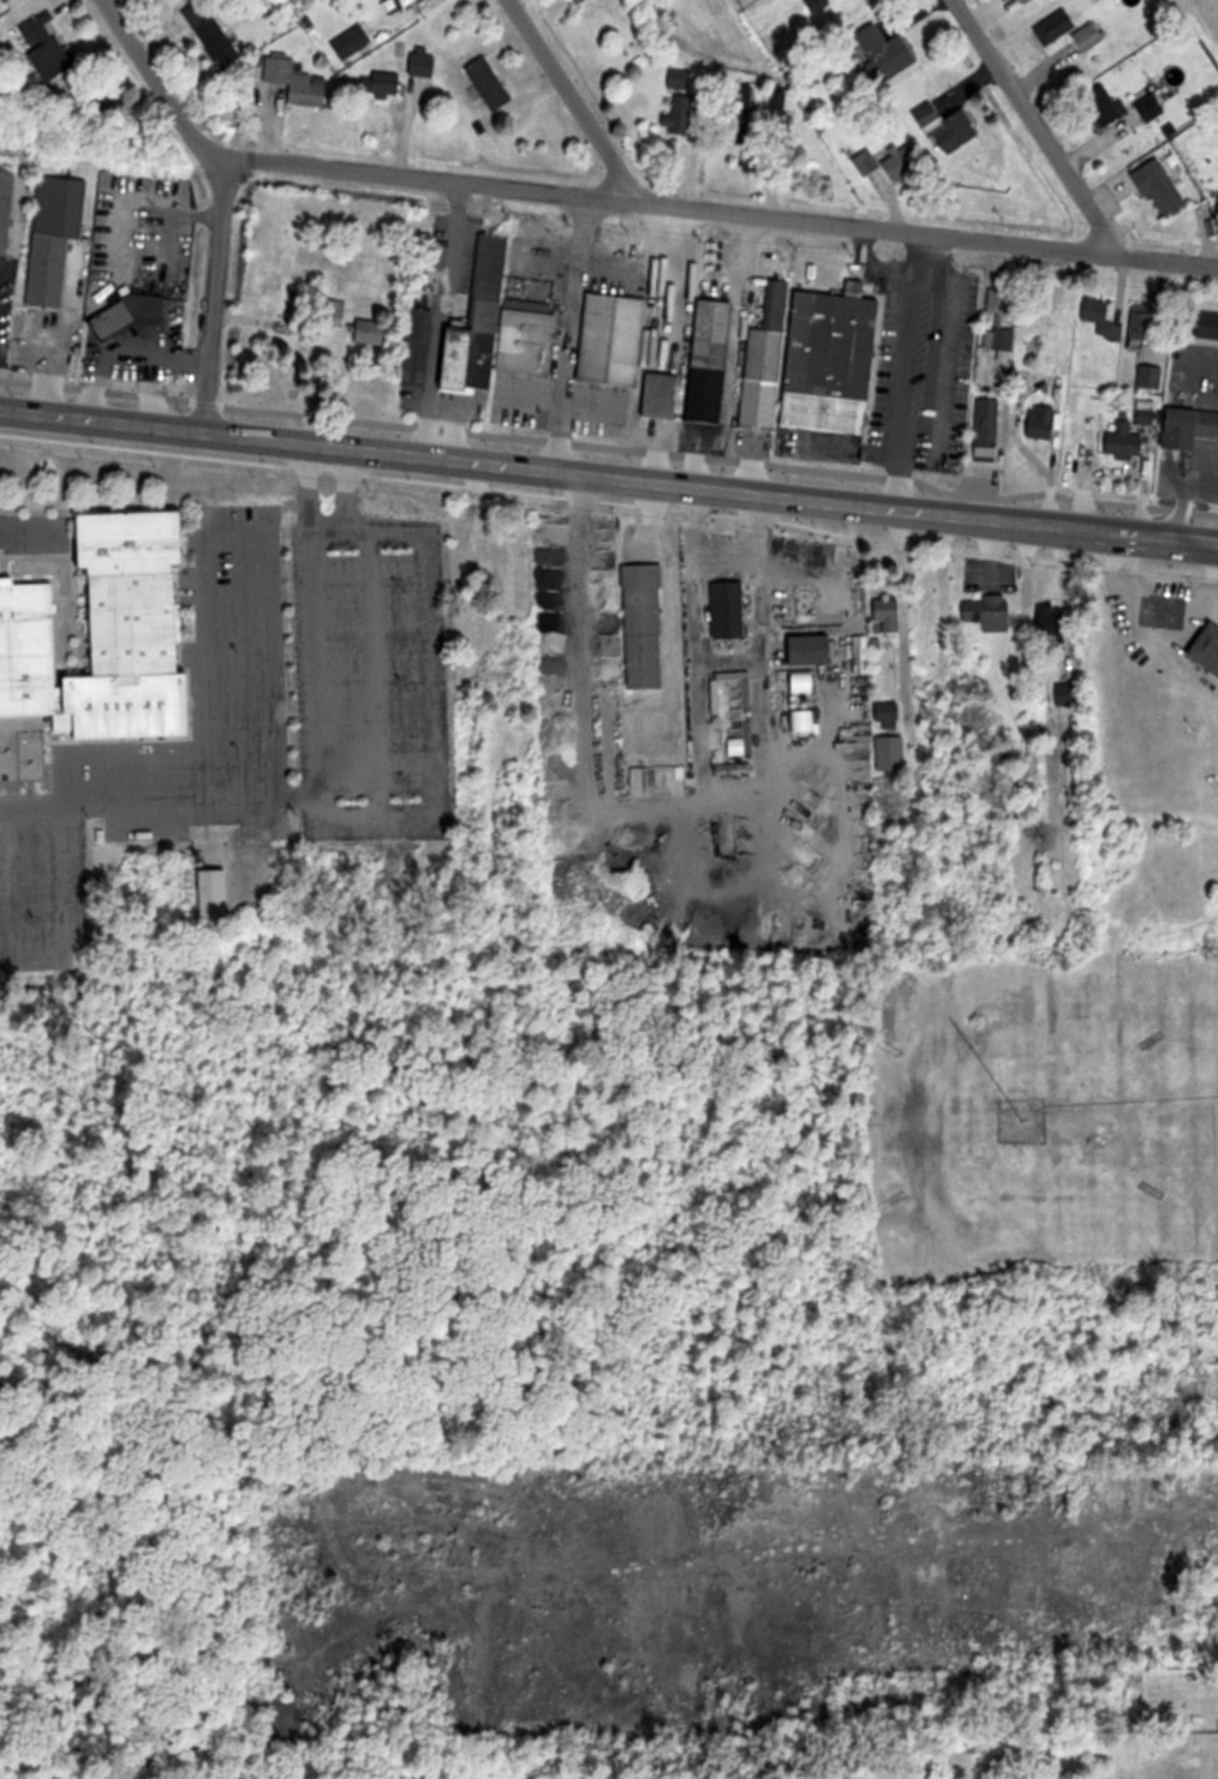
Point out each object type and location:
building: (10, 1)
building: (1026, 1)
building: (419, 4)
building: (1056, 26)
building: (213, 32)
building: (1088, 36)
building: (352, 42)
building: (48, 48)
building: (885, 53)
building: (425, 65)
building: (680, 78)
building: (298, 82)
building: (491, 83)
building: (383, 84)
road: (161, 86)
road: (572, 97)
building: (1103, 107)
building: (741, 112)
building: (681, 117)
road: (1033, 124)
building: (956, 132)
building: (901, 162)
building: (1162, 186)
building: (7, 209)
road: (718, 210)
building: (56, 237)
building: (1001, 300)
road: (213, 303)
building: (126, 317)
building: (1101, 318)
building: (1145, 322)
building: (498, 329)
building: (372, 332)
building: (614, 339)
building: (768, 358)
building: (835, 360)
building: (710, 362)
building: (1150, 376)
building: (664, 394)
road: (101, 423)
building: (1190, 426)
building: (989, 428)
building: (1126, 441)
road: (710, 488)
building: (729, 608)
building: (993, 611)
building: (1052, 622)
building: (645, 625)
building: (108, 632)
building: (1208, 646)
building: (814, 647)
building: (1068, 693)
building: (733, 712)
building: (888, 714)
building: (891, 752)
road: (316, 775)
building: (216, 893)
park: (118, 1392)
building: (1117, 1496)
building: (1124, 1558)

